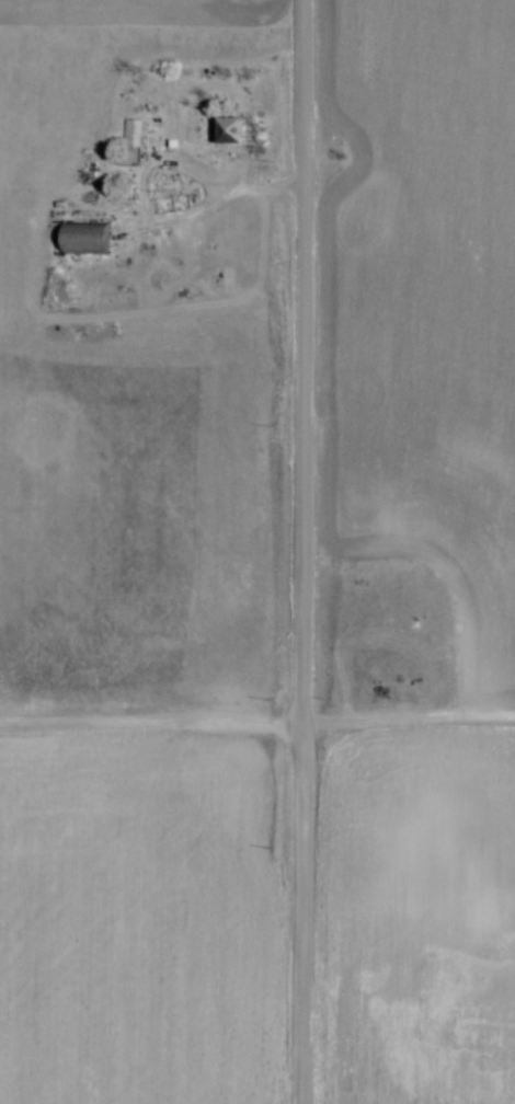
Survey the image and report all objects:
building: (236, 117)
building: (133, 124)
building: (230, 128)
road: (154, 153)
road: (207, 199)
building: (89, 231)
crop: (424, 543)
road: (302, 552)
crop: (131, 621)
road: (408, 710)

